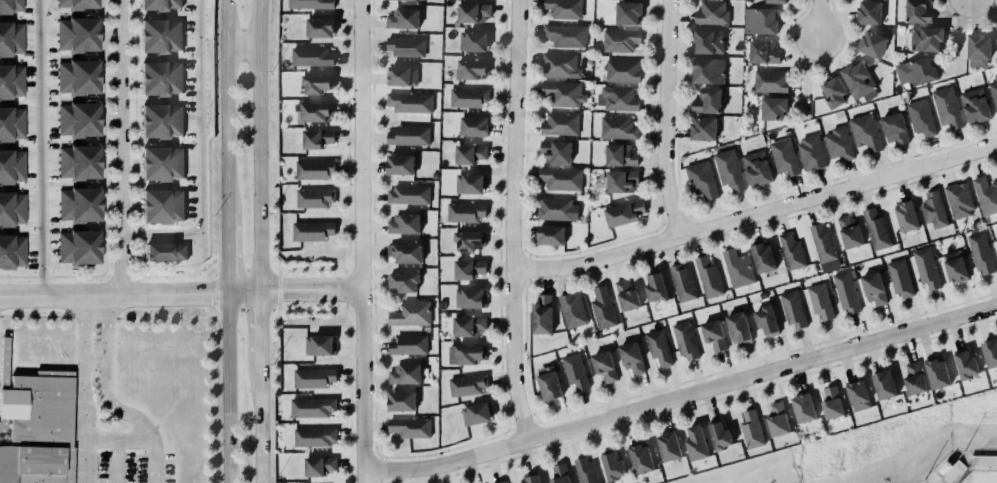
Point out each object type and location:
building: (403, 0)
building: (776, 1)
building: (77, 4)
building: (158, 4)
building: (311, 4)
building: (10, 6)
building: (565, 9)
building: (918, 11)
building: (472, 12)
building: (712, 13)
building: (869, 13)
building: (628, 14)
road: (817, 18)
building: (402, 19)
building: (760, 21)
building: (996, 26)
building: (320, 28)
building: (78, 34)
building: (159, 35)
building: (565, 35)
road: (958, 36)
building: (11, 38)
building: (926, 39)
building: (621, 41)
building: (708, 41)
building: (475, 42)
building: (873, 44)
road: (242, 46)
building: (405, 46)
building: (978, 49)
building: (763, 52)
building: (313, 57)
building: (561, 66)
building: (471, 69)
building: (623, 71)
building: (709, 71)
building: (916, 72)
building: (403, 76)
road: (805, 76)
building: (77, 77)
building: (160, 78)
building: (314, 79)
building: (11, 80)
building: (858, 80)
building: (771, 82)
building: (833, 90)
building: (994, 92)
building: (561, 93)
building: (467, 97)
building: (618, 99)
building: (709, 102)
building: (410, 103)
building: (975, 106)
road: (226, 107)
building: (947, 107)
building: (773, 109)
building: (317, 112)
building: (921, 117)
building: (10, 119)
building: (79, 119)
road: (661, 120)
building: (160, 121)
building: (561, 124)
building: (473, 127)
building: (616, 127)
road: (200, 129)
building: (704, 129)
building: (895, 129)
building: (866, 133)
building: (408, 135)
building: (316, 139)
building: (839, 144)
road: (259, 145)
road: (40, 147)
road: (122, 147)
building: (557, 152)
building: (811, 153)
building: (470, 154)
building: (619, 155)
building: (785, 157)
building: (79, 162)
building: (161, 163)
building: (399, 165)
building: (311, 166)
building: (11, 167)
building: (728, 169)
building: (757, 169)
building: (562, 179)
building: (701, 180)
building: (622, 181)
building: (471, 184)
building: (312, 193)
building: (408, 194)
building: (986, 195)
building: (960, 200)
building: (78, 204)
building: (162, 206)
building: (554, 209)
building: (12, 210)
building: (933, 210)
building: (464, 211)
building: (623, 213)
road: (756, 217)
building: (906, 217)
road: (513, 220)
building: (404, 224)
building: (875, 229)
building: (312, 231)
building: (849, 231)
road: (163, 234)
building: (552, 235)
road: (359, 241)
building: (470, 241)
building: (822, 242)
building: (78, 246)
building: (11, 250)
building: (166, 252)
building: (792, 252)
building: (406, 253)
road: (228, 254)
building: (981, 254)
building: (763, 258)
building: (955, 267)
building: (737, 268)
building: (926, 268)
building: (468, 269)
building: (707, 277)
building: (899, 277)
building: (405, 282)
building: (682, 283)
building: (654, 287)
building: (873, 288)
road: (310, 292)
building: (847, 292)
road: (131, 293)
building: (627, 296)
building: (469, 298)
building: (820, 301)
building: (603, 308)
building: (792, 309)
building: (573, 310)
building: (411, 313)
building: (543, 315)
building: (766, 321)
building: (469, 326)
road: (262, 328)
building: (739, 328)
building: (713, 335)
building: (686, 341)
building: (320, 345)
building: (408, 345)
building: (659, 348)
building: (466, 354)
building: (990, 354)
building: (632, 358)
road: (93, 362)
building: (965, 364)
building: (605, 367)
building: (936, 368)
building: (575, 372)
building: (404, 374)
building: (312, 378)
building: (914, 379)
building: (549, 383)
building: (467, 384)
building: (884, 385)
road: (81, 388)
road: (229, 388)
road: (681, 395)
building: (858, 396)
road: (106, 399)
building: (401, 401)
building: (831, 404)
building: (312, 407)
building: (804, 408)
building: (474, 409)
building: (777, 420)
road: (262, 423)
building: (410, 427)
building: (37, 429)
building: (751, 430)
building: (313, 436)
building: (721, 436)
road: (116, 439)
building: (695, 444)
building: (669, 447)
building: (640, 459)
road: (116, 461)
building: (320, 466)
building: (614, 467)
building: (584, 470)
building: (560, 474)
building: (531, 477)
park: (973, 477)
building: (502, 482)

